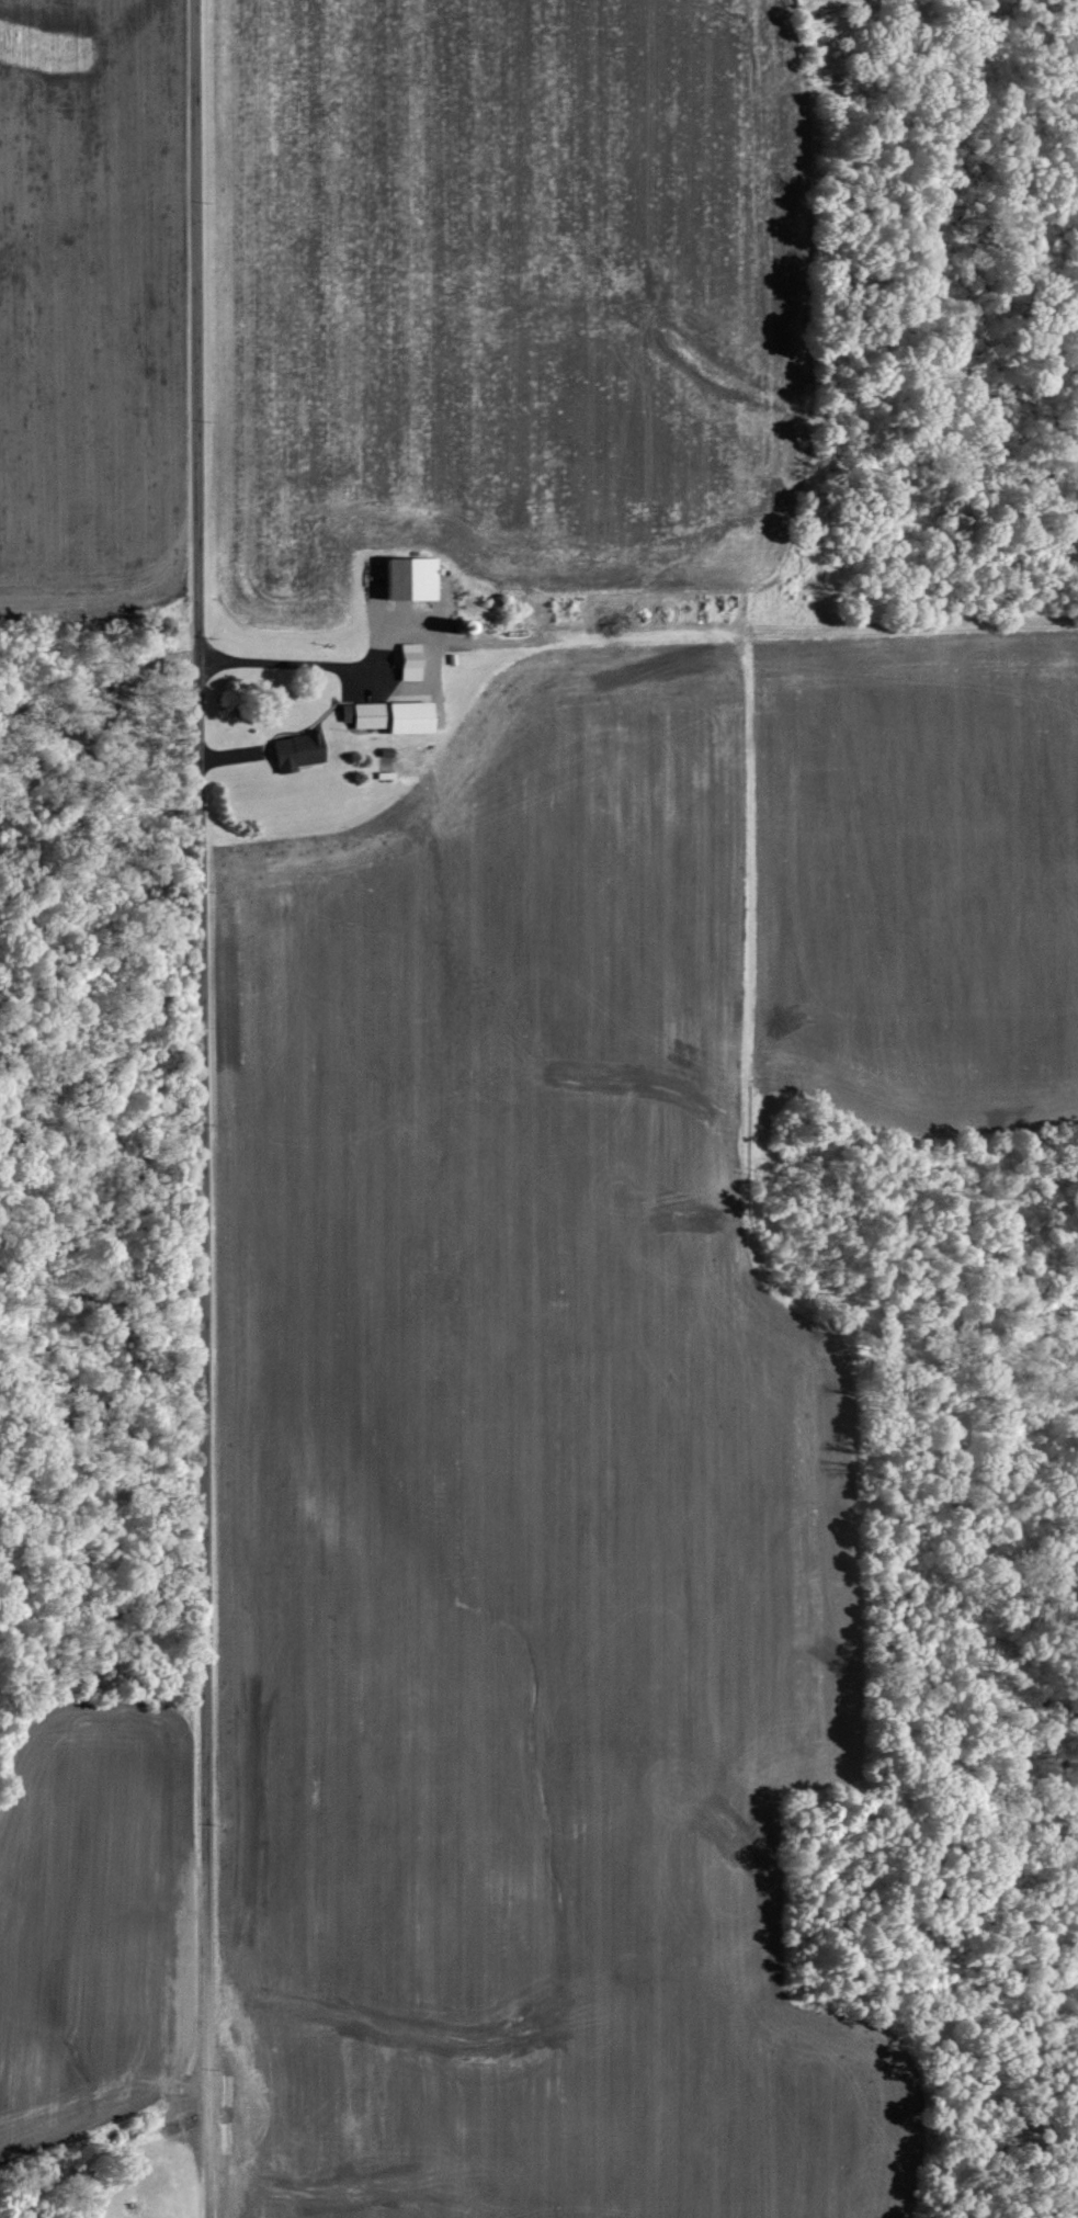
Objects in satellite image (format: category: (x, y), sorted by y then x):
building: (404, 577)
building: (404, 661)
road: (326, 667)
building: (389, 716)
building: (291, 751)
road: (200, 1108)

